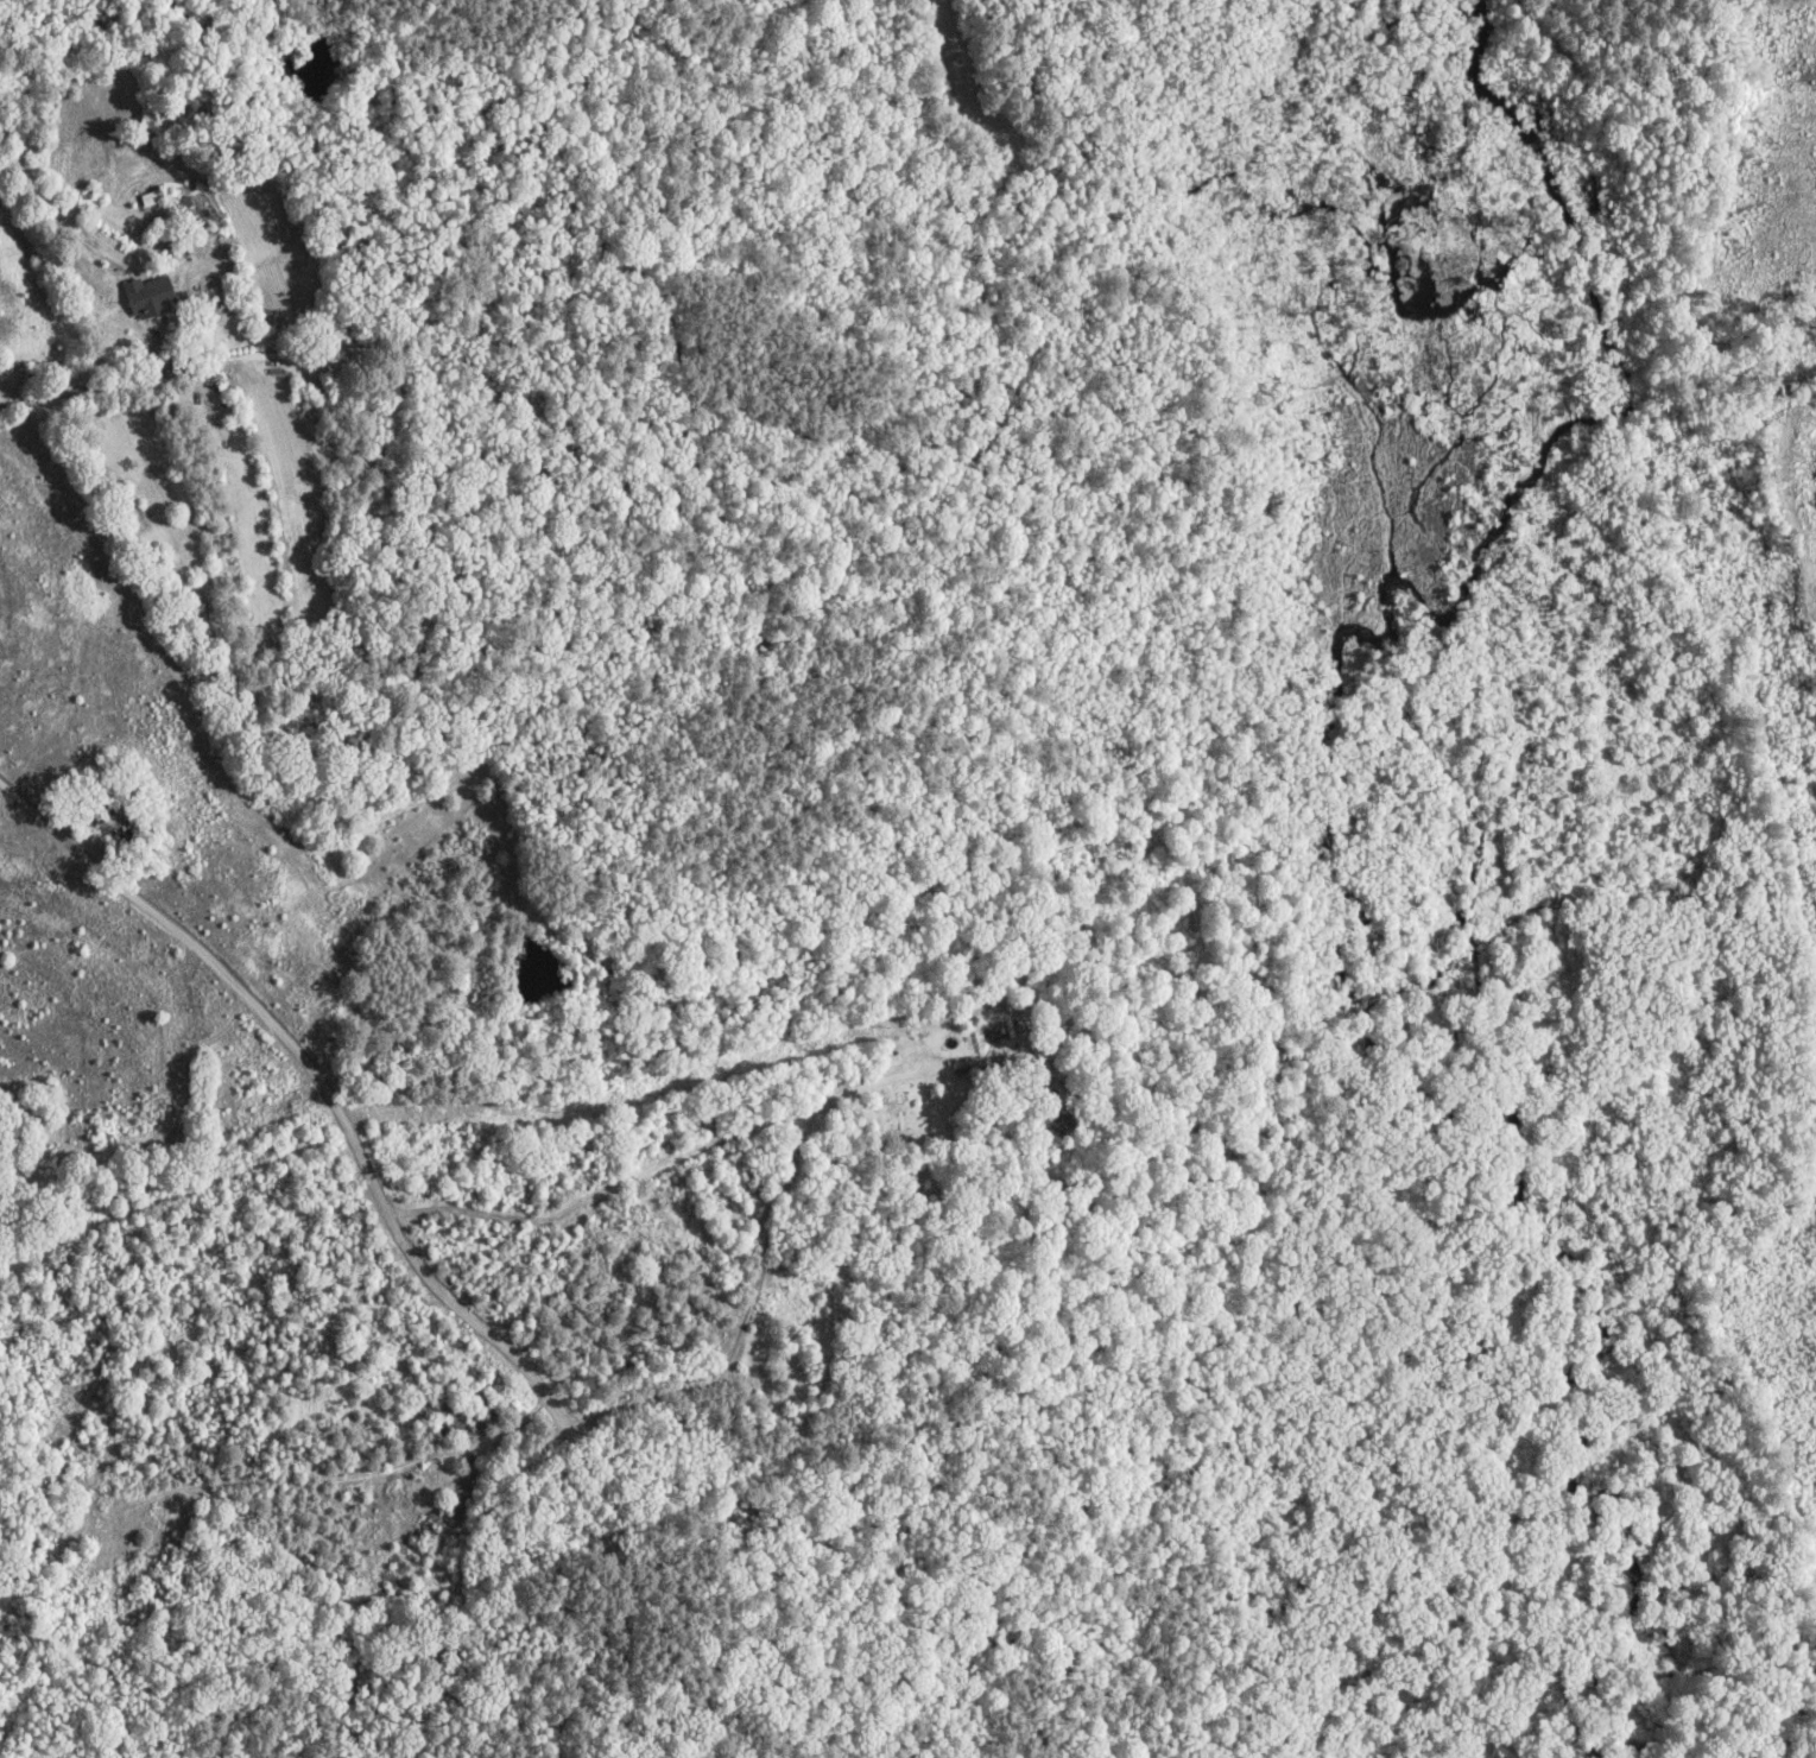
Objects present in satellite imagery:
building: (154, 201)
building: (158, 298)
road: (154, 378)
building: (888, 1119)
road: (472, 1320)

